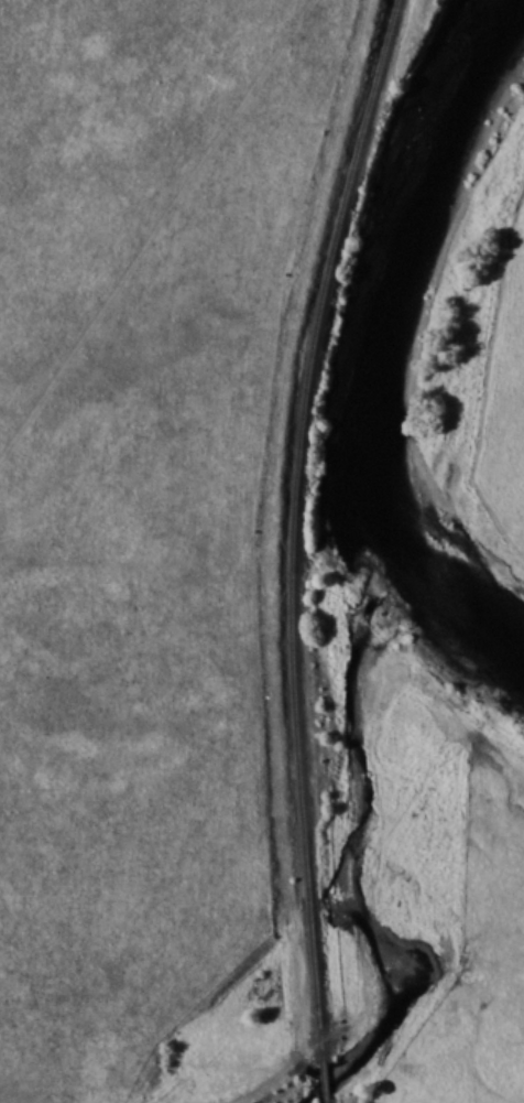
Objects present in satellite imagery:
river: (378, 347)
railway: (299, 525)
railway: (324, 1080)
railway: (326, 1101)

